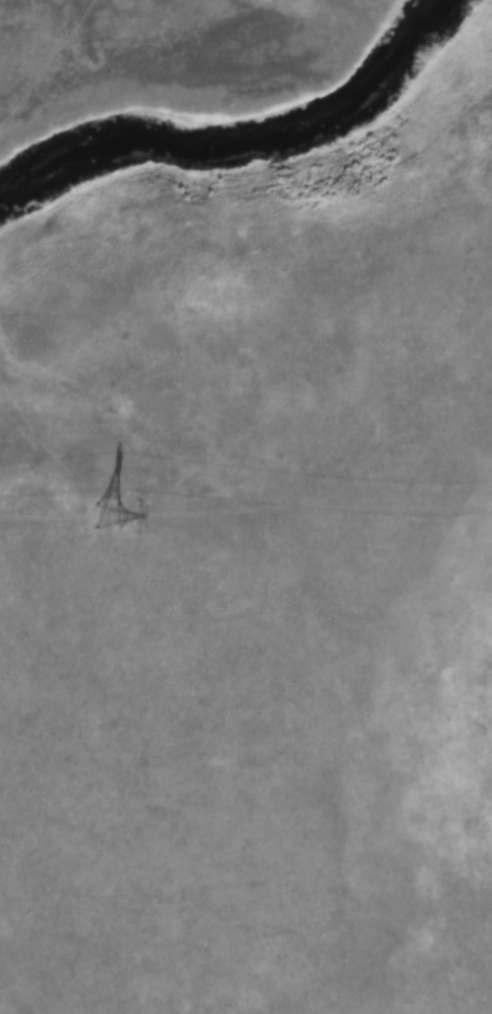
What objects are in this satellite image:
power tower: (111, 513)

